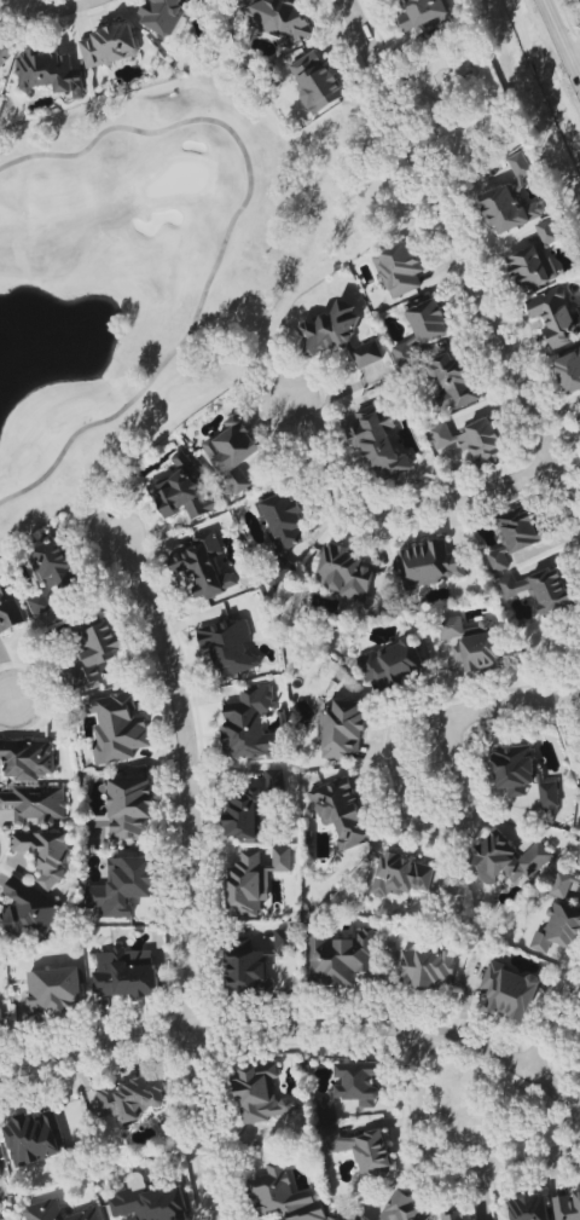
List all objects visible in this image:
road: (51, 7)
building: (420, 13)
building: (162, 15)
building: (282, 19)
road: (562, 37)
building: (109, 46)
building: (4, 54)
road: (576, 60)
building: (50, 73)
building: (315, 81)
road: (436, 104)
road: (454, 110)
road: (527, 117)
building: (520, 164)
building: (507, 209)
building: (547, 231)
road: (463, 256)
building: (530, 268)
building: (398, 270)
park: (133, 276)
building: (555, 316)
building: (329, 329)
building: (420, 329)
building: (366, 354)
building: (568, 371)
building: (451, 381)
building: (579, 418)
building: (470, 440)
building: (378, 443)
building: (233, 452)
building: (184, 491)
road: (395, 511)
building: (284, 521)
building: (514, 536)
building: (429, 565)
building: (204, 566)
building: (50, 572)
building: (343, 572)
building: (279, 573)
building: (539, 590)
building: (8, 609)
building: (471, 643)
building: (228, 647)
building: (97, 654)
building: (391, 664)
road: (2, 695)
road: (509, 706)
building: (249, 725)
building: (117, 727)
building: (341, 729)
building: (27, 759)
building: (514, 769)
building: (274, 780)
building: (34, 803)
building: (129, 806)
building: (342, 813)
building: (245, 815)
road: (416, 823)
building: (45, 852)
building: (509, 860)
building: (578, 860)
road: (190, 873)
building: (401, 875)
building: (253, 881)
building: (564, 884)
building: (122, 886)
building: (28, 910)
building: (558, 930)
building: (341, 956)
building: (253, 965)
building: (428, 969)
building: (124, 977)
building: (510, 990)
building: (53, 991)
building: (481, 996)
road: (296, 1025)
building: (0, 1028)
road: (552, 1031)
building: (358, 1083)
building: (260, 1094)
building: (127, 1099)
building: (327, 1109)
building: (34, 1138)
building: (360, 1149)
road: (441, 1166)
building: (0, 1174)
building: (283, 1196)
building: (152, 1203)
building: (567, 1205)
building: (404, 1208)
building: (529, 1208)
building: (58, 1212)
building: (129, 1216)
building: (358, 1216)
building: (459, 1216)

